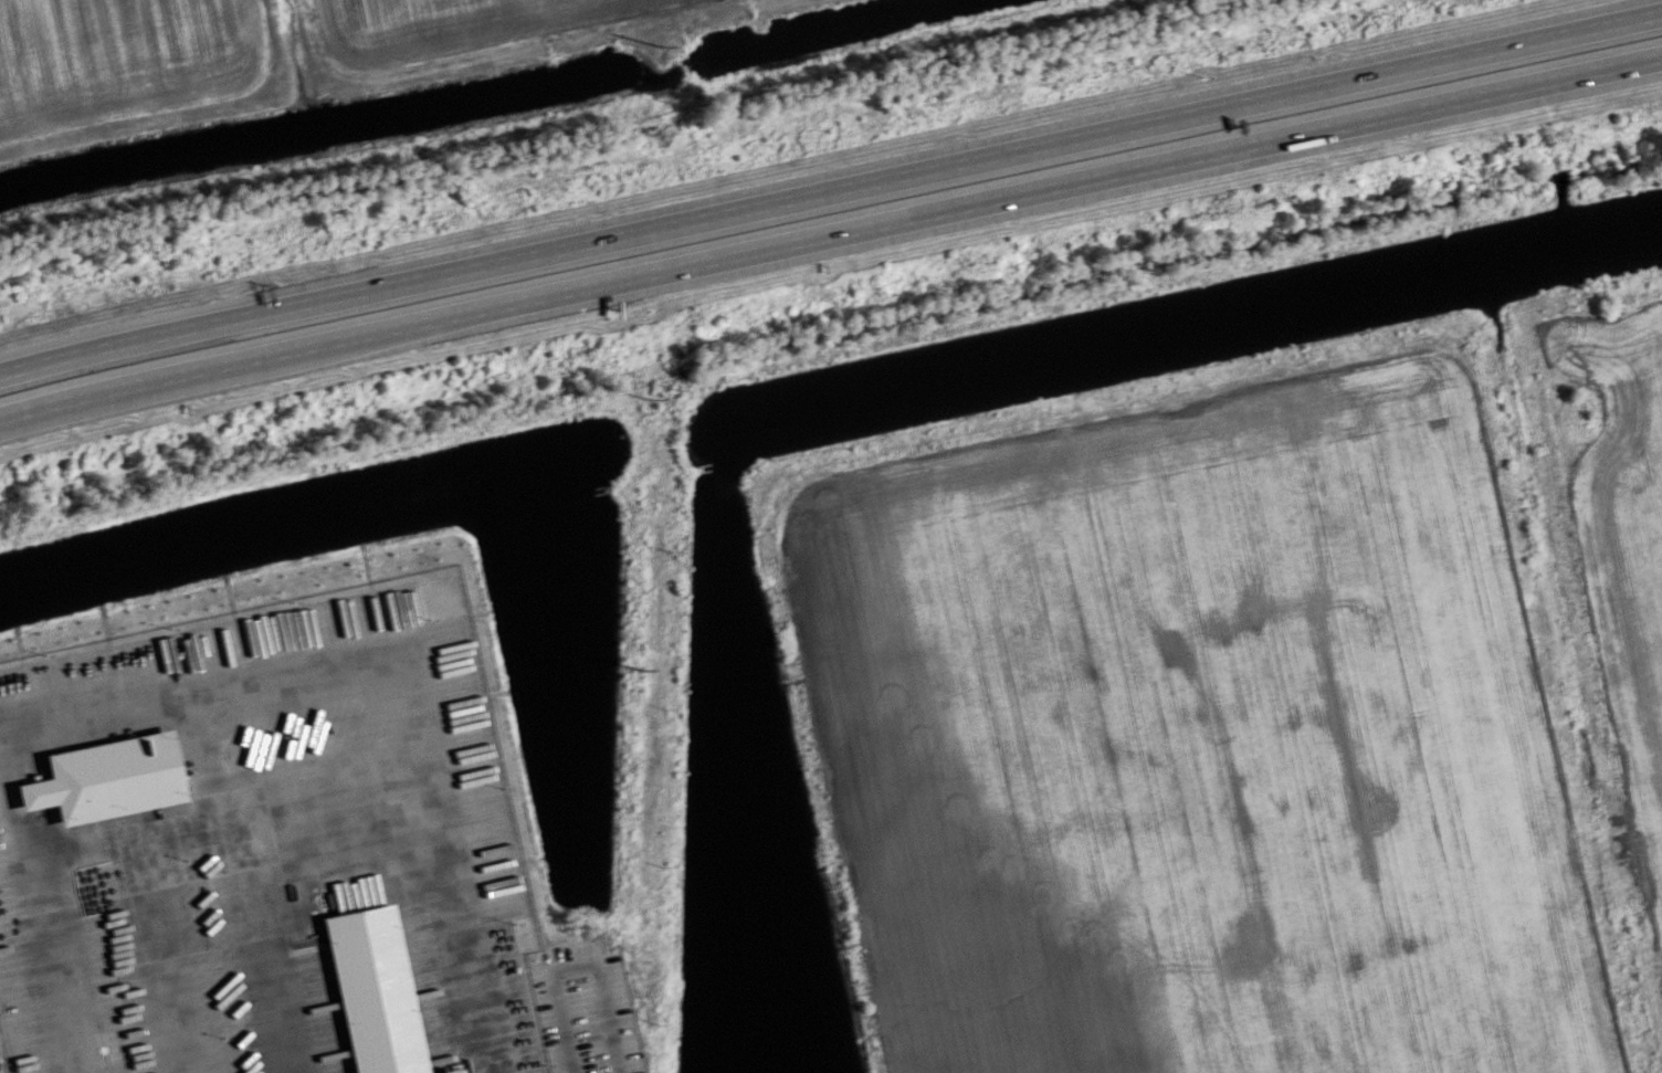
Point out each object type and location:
power tower: (662, 48)
road: (995, 155)
road: (998, 197)
road: (162, 333)
road: (167, 375)
power tower: (650, 399)
road: (417, 650)
power tower: (640, 666)
building: (106, 778)
road: (234, 814)
road: (52, 924)
road: (264, 944)
road: (168, 954)
road: (579, 965)
building: (374, 991)
parking lot: (585, 1011)
building: (450, 1071)

